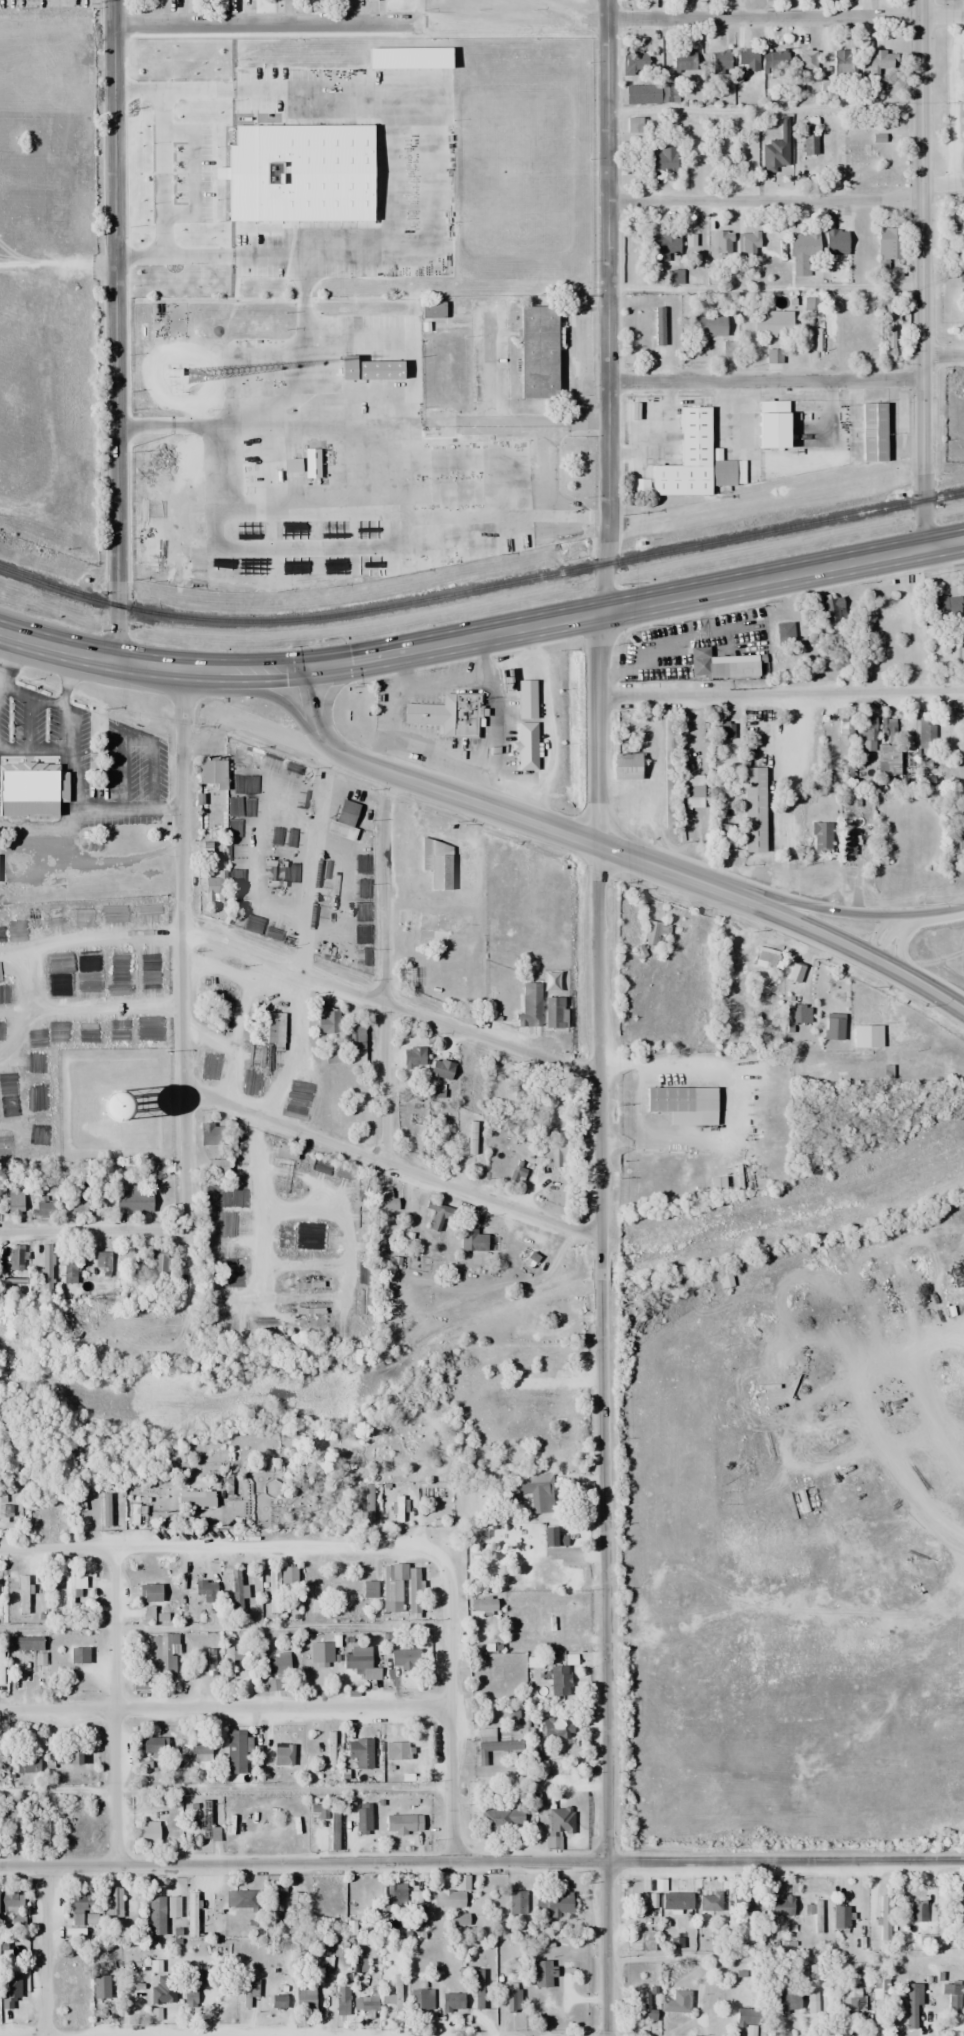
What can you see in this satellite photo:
road: (414, 15)
road: (786, 17)
road: (257, 22)
building: (746, 59)
building: (807, 59)
building: (683, 60)
building: (773, 61)
building: (878, 61)
building: (719, 62)
building: (633, 63)
building: (843, 64)
building: (641, 93)
road: (764, 109)
building: (633, 125)
building: (810, 141)
building: (851, 153)
building: (773, 155)
building: (660, 161)
road: (942, 184)
road: (764, 200)
building: (689, 239)
building: (835, 240)
building: (722, 241)
building: (749, 243)
building: (887, 245)
building: (662, 247)
building: (802, 253)
road: (921, 273)
road: (764, 287)
road: (608, 306)
building: (456, 314)
building: (772, 323)
building: (658, 326)
building: (708, 326)
road: (116, 330)
building: (889, 333)
building: (536, 352)
road: (942, 354)
building: (366, 369)
road: (764, 381)
building: (770, 425)
building: (872, 431)
building: (690, 460)
building: (469, 468)
railway: (481, 587)
road: (635, 605)
building: (943, 606)
building: (832, 609)
building: (784, 632)
road: (59, 647)
building: (699, 662)
traffic signals: (305, 665)
building: (740, 668)
road: (212, 669)
road: (2, 681)
road: (38, 691)
road: (782, 691)
road: (279, 695)
road: (329, 696)
building: (446, 714)
road: (32, 716)
road: (73, 722)
building: (727, 729)
building: (669, 737)
road: (37, 744)
building: (524, 744)
building: (887, 746)
building: (624, 765)
building: (209, 769)
building: (34, 783)
building: (694, 790)
road: (478, 798)
building: (668, 805)
road: (131, 806)
building: (753, 809)
road: (72, 817)
building: (821, 837)
building: (848, 843)
building: (439, 866)
road: (814, 900)
road: (944, 908)
road: (890, 920)
building: (439, 927)
building: (654, 933)
road: (837, 935)
road: (900, 937)
road: (185, 943)
building: (762, 955)
road: (386, 964)
building: (794, 972)
building: (404, 976)
road: (297, 1000)
road: (391, 1002)
building: (530, 1007)
building: (554, 1011)
building: (797, 1014)
building: (272, 1029)
building: (355, 1036)
building: (866, 1036)
building: (440, 1069)
building: (94, 1102)
building: (681, 1103)
water tower: (118, 1107)
road: (392, 1164)
building: (385, 1200)
building: (132, 1201)
building: (14, 1202)
building: (77, 1203)
building: (43, 1205)
road: (94, 1230)
building: (470, 1239)
building: (160, 1259)
building: (16, 1260)
building: (102, 1260)
building: (46, 1266)
building: (69, 1270)
building: (725, 1278)
road: (600, 1324)
building: (194, 1498)
building: (552, 1537)
road: (221, 1545)
building: (546, 1571)
building: (287, 1575)
building: (397, 1587)
building: (350, 1589)
building: (206, 1590)
building: (149, 1592)
building: (234, 1593)
building: (22, 1594)
building: (72, 1594)
building: (146, 1613)
building: (483, 1622)
building: (24, 1643)
building: (161, 1652)
building: (231, 1654)
building: (322, 1654)
building: (78, 1655)
building: (355, 1659)
building: (403, 1659)
building: (276, 1664)
building: (497, 1665)
building: (559, 1682)
building: (273, 1685)
road: (113, 1706)
road: (225, 1708)
road: (452, 1708)
building: (554, 1728)
building: (496, 1742)
building: (150, 1746)
building: (395, 1750)
building: (235, 1751)
building: (360, 1752)
building: (67, 1753)
building: (198, 1753)
building: (274, 1754)
building: (26, 1764)
building: (317, 1809)
building: (356, 1818)
building: (501, 1818)
building: (15, 1820)
building: (559, 1821)
building: (208, 1823)
building: (402, 1823)
building: (147, 1833)
road: (482, 1863)
building: (396, 1893)
building: (447, 1898)
building: (240, 1899)
building: (275, 1899)
building: (8, 1900)
building: (639, 1900)
building: (675, 1901)
building: (80, 1902)
building: (112, 1902)
building: (557, 1902)
building: (709, 1902)
building: (516, 1903)
building: (744, 1903)
building: (780, 1905)
building: (416, 1906)
building: (918, 1911)
building: (191, 1914)
building: (155, 1915)
building: (840, 1915)
building: (885, 1917)
building: (639, 1940)
road: (46, 1951)
building: (542, 1973)
building: (100, 1986)
building: (192, 1986)
building: (250, 1989)
building: (879, 1989)
building: (162, 1993)
building: (948, 1997)
building: (303, 1998)
building: (341, 1998)
building: (10, 1999)
building: (392, 2000)
building: (421, 2000)
building: (513, 2000)
building: (711, 2000)
building: (812, 2000)
building: (850, 2001)
building: (277, 2002)
building: (452, 2002)
building: (787, 2003)
building: (365, 2004)
building: (911, 2006)
building: (645, 2009)
building: (747, 2017)

